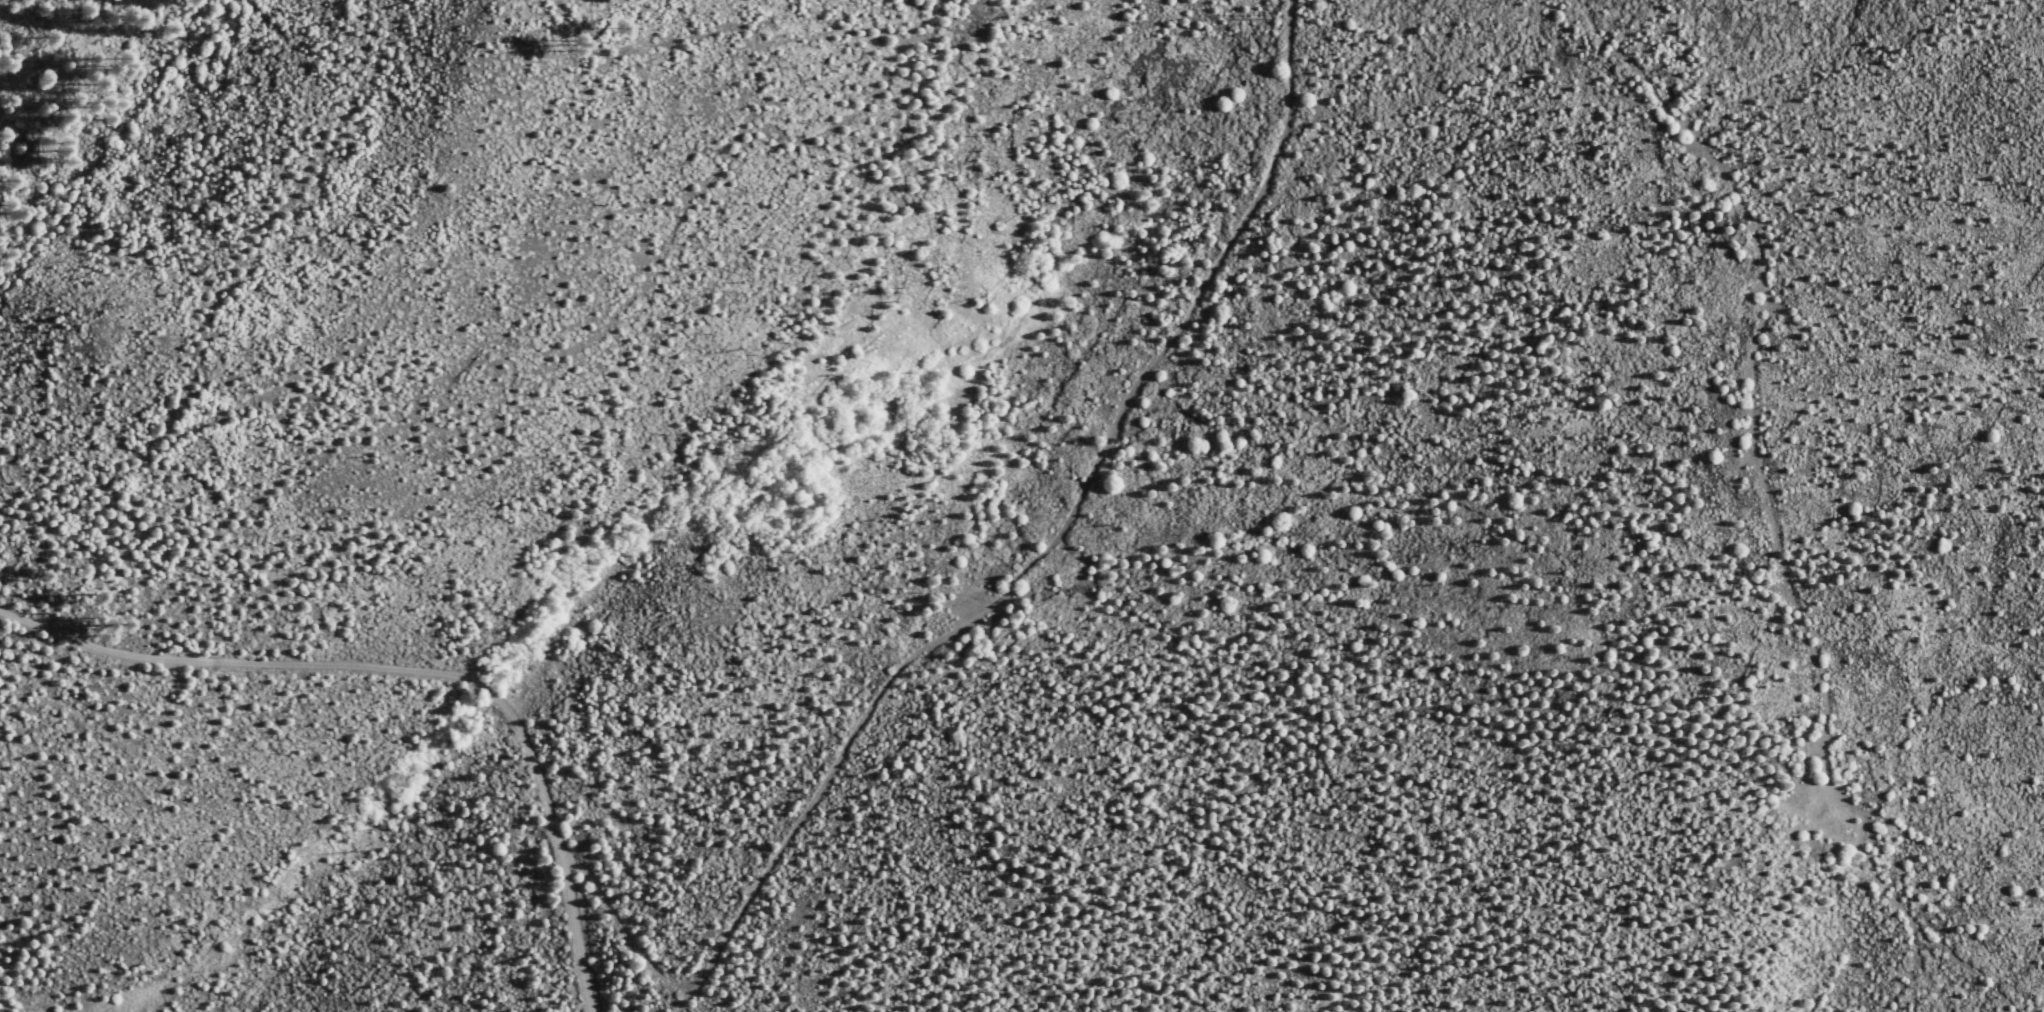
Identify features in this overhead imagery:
power tower: (1268, 14)
road: (1063, 548)
power tower: (908, 590)
road: (413, 669)
power tower: (691, 931)

